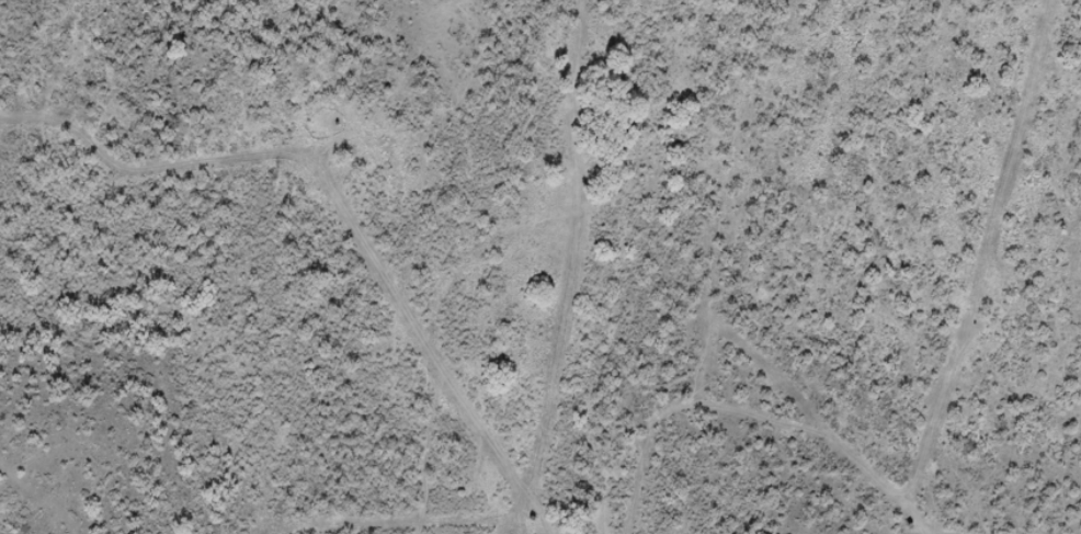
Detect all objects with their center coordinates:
road: (509, 254)

